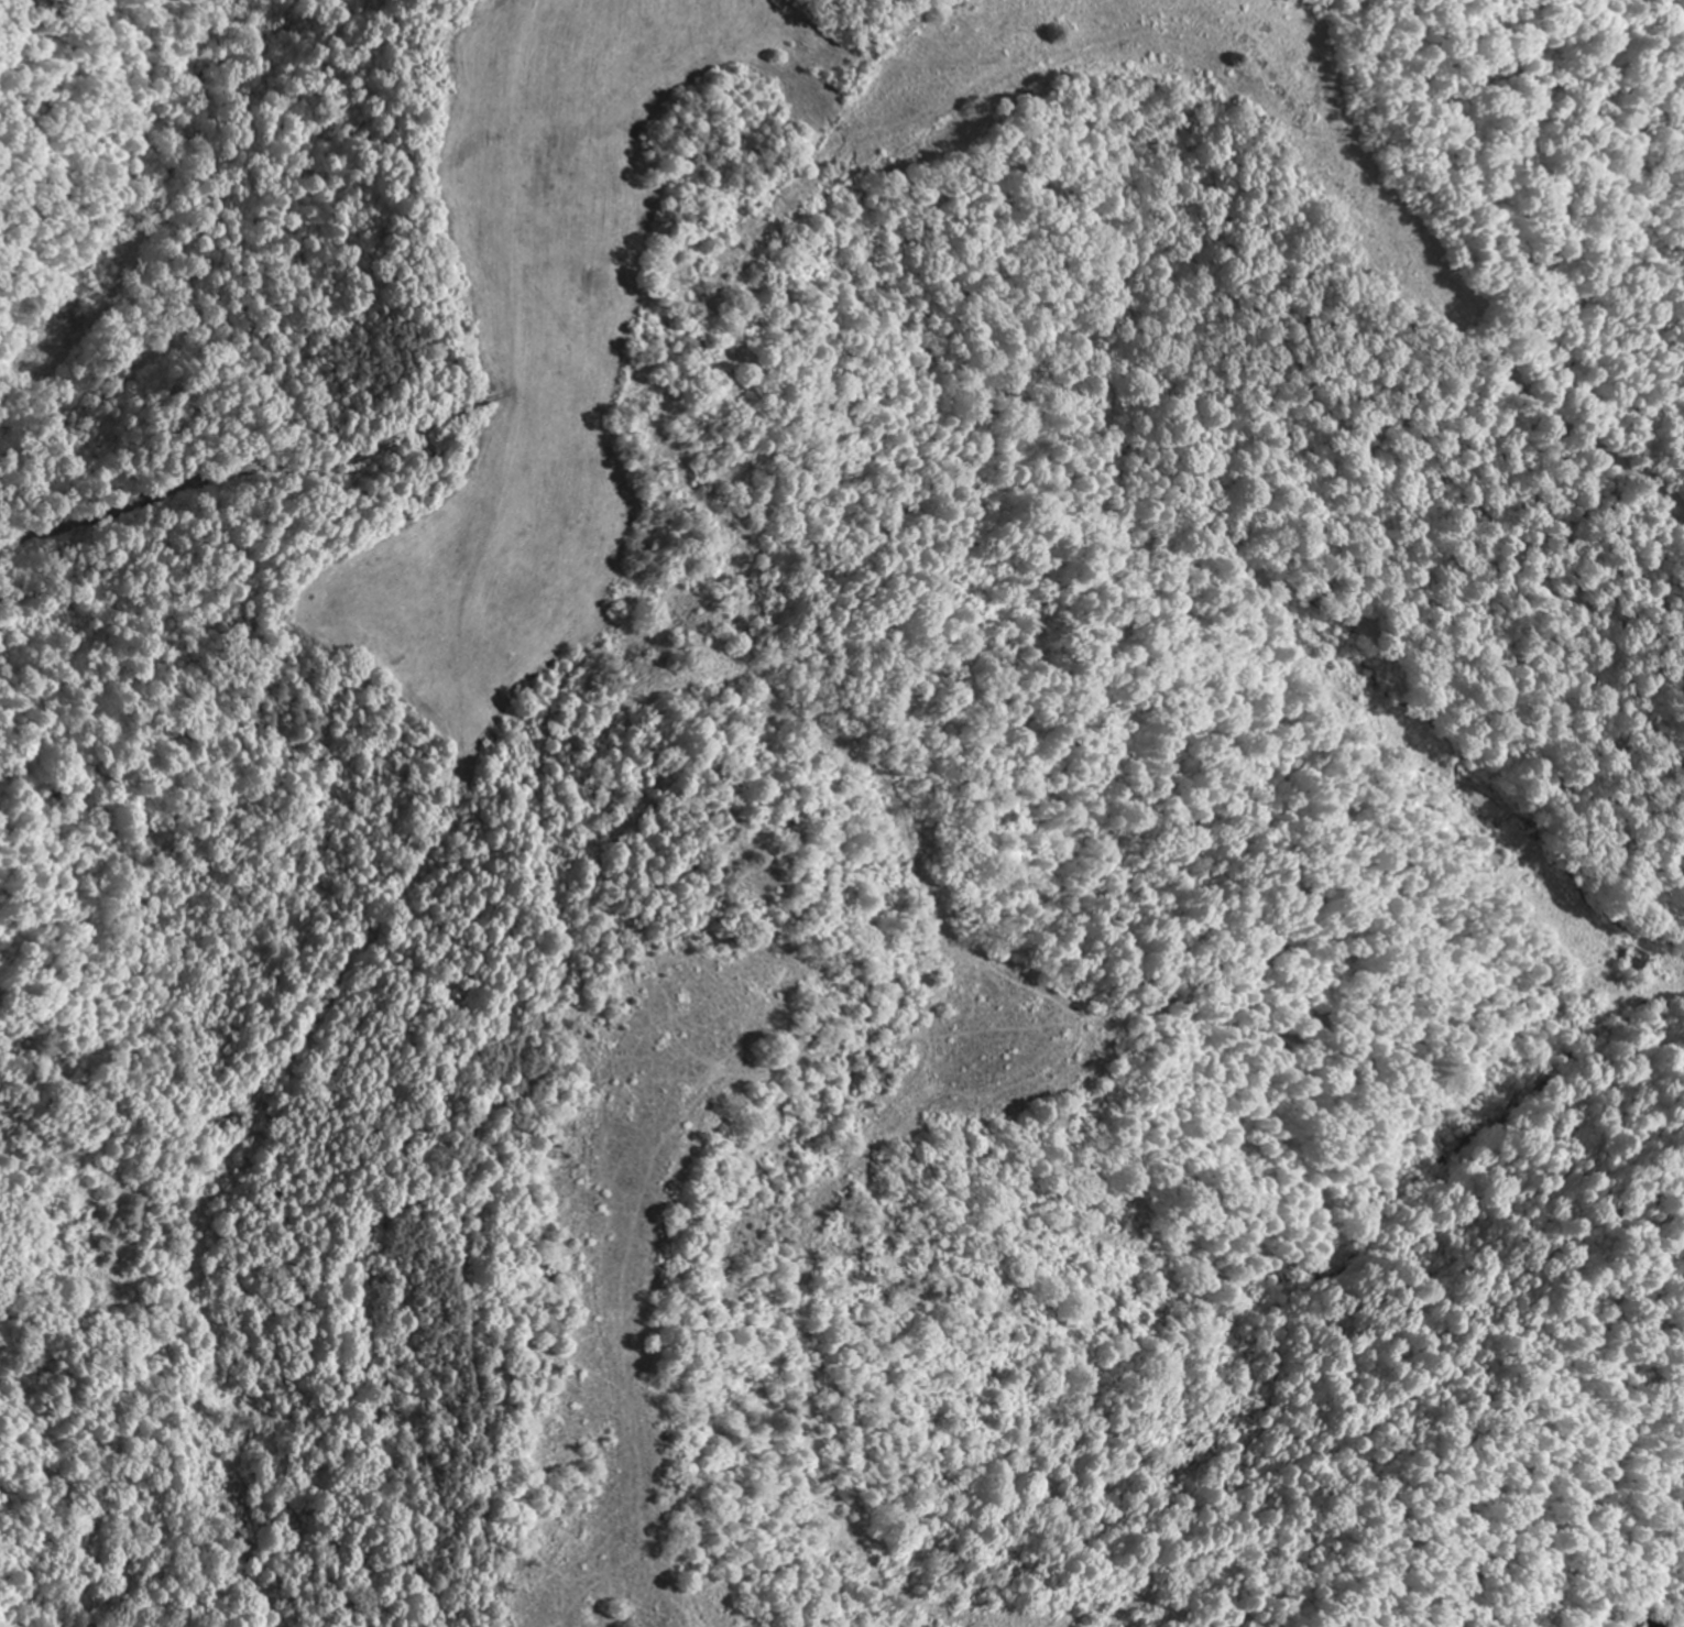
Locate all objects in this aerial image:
road: (1672, 847)

